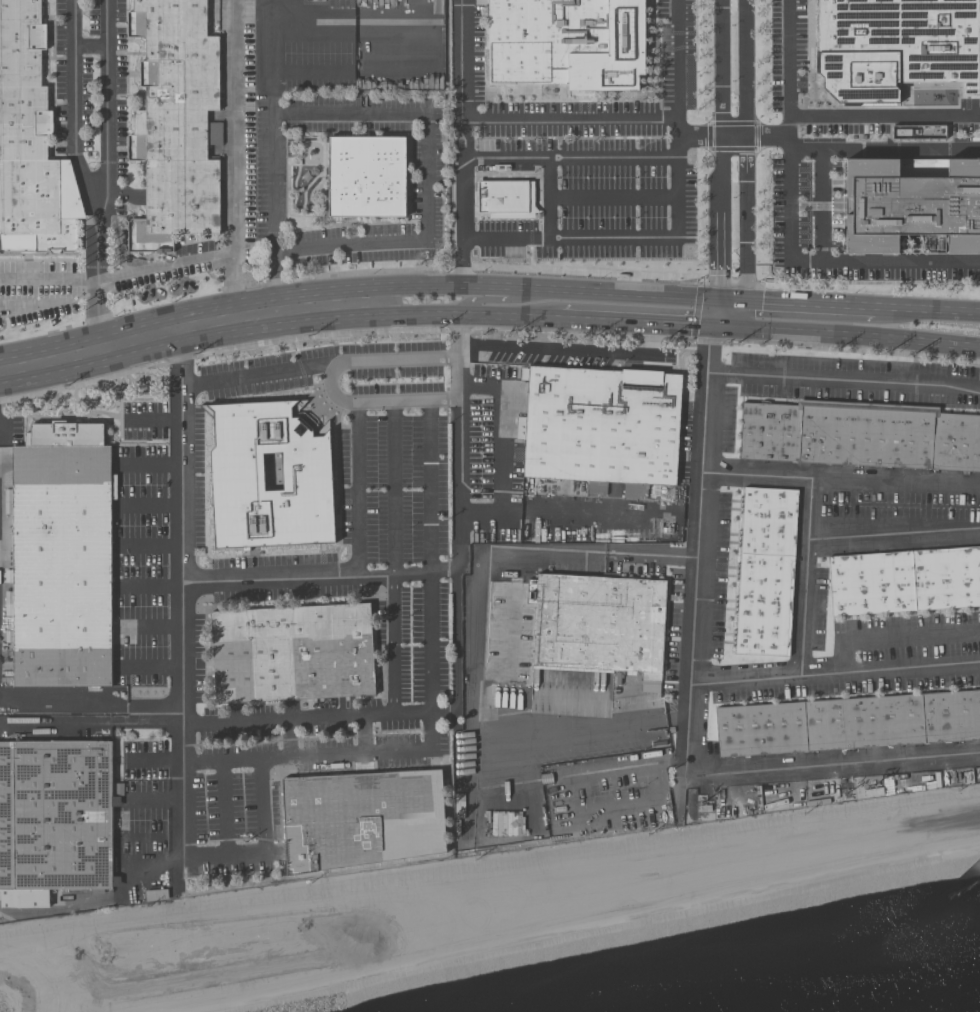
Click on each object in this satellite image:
road: (89, 43)
building: (566, 43)
building: (896, 47)
road: (721, 68)
road: (745, 68)
road: (106, 113)
road: (73, 114)
road: (569, 117)
road: (885, 117)
building: (174, 123)
road: (234, 127)
road: (700, 136)
road: (733, 136)
road: (768, 136)
road: (459, 142)
building: (30, 144)
road: (900, 149)
road: (269, 156)
road: (569, 160)
road: (428, 172)
building: (366, 177)
road: (821, 193)
building: (501, 196)
road: (549, 199)
road: (613, 201)
building: (910, 206)
road: (720, 217)
road: (745, 218)
road: (788, 221)
road: (677, 228)
road: (195, 262)
road: (97, 288)
road: (547, 288)
road: (48, 293)
traffic signals: (719, 298)
road: (731, 299)
road: (497, 300)
traffic signals: (744, 300)
road: (809, 303)
road: (926, 308)
road: (718, 312)
road: (744, 314)
road: (467, 316)
road: (639, 322)
traffic signals: (718, 326)
traffic signals: (744, 328)
road: (189, 330)
road: (849, 334)
road: (568, 347)
road: (317, 360)
road: (843, 381)
road: (373, 399)
road: (152, 423)
road: (494, 431)
building: (594, 432)
building: (859, 437)
road: (147, 464)
building: (269, 476)
road: (840, 478)
road: (395, 487)
road: (428, 487)
road: (356, 488)
road: (146, 505)
road: (699, 506)
road: (577, 508)
road: (455, 515)
road: (895, 535)
road: (147, 544)
building: (62, 557)
building: (765, 572)
road: (317, 578)
building: (904, 580)
road: (148, 582)
road: (180, 596)
building: (599, 624)
road: (147, 626)
road: (806, 636)
road: (899, 640)
road: (428, 645)
road: (393, 646)
road: (473, 646)
building: (293, 653)
road: (148, 666)
road: (891, 671)
road: (56, 702)
road: (318, 719)
building: (848, 723)
road: (90, 724)
road: (319, 752)
road: (152, 760)
road: (787, 769)
road: (152, 800)
road: (223, 806)
building: (53, 819)
building: (362, 819)
road: (146, 839)
road: (260, 842)
river: (870, 988)

